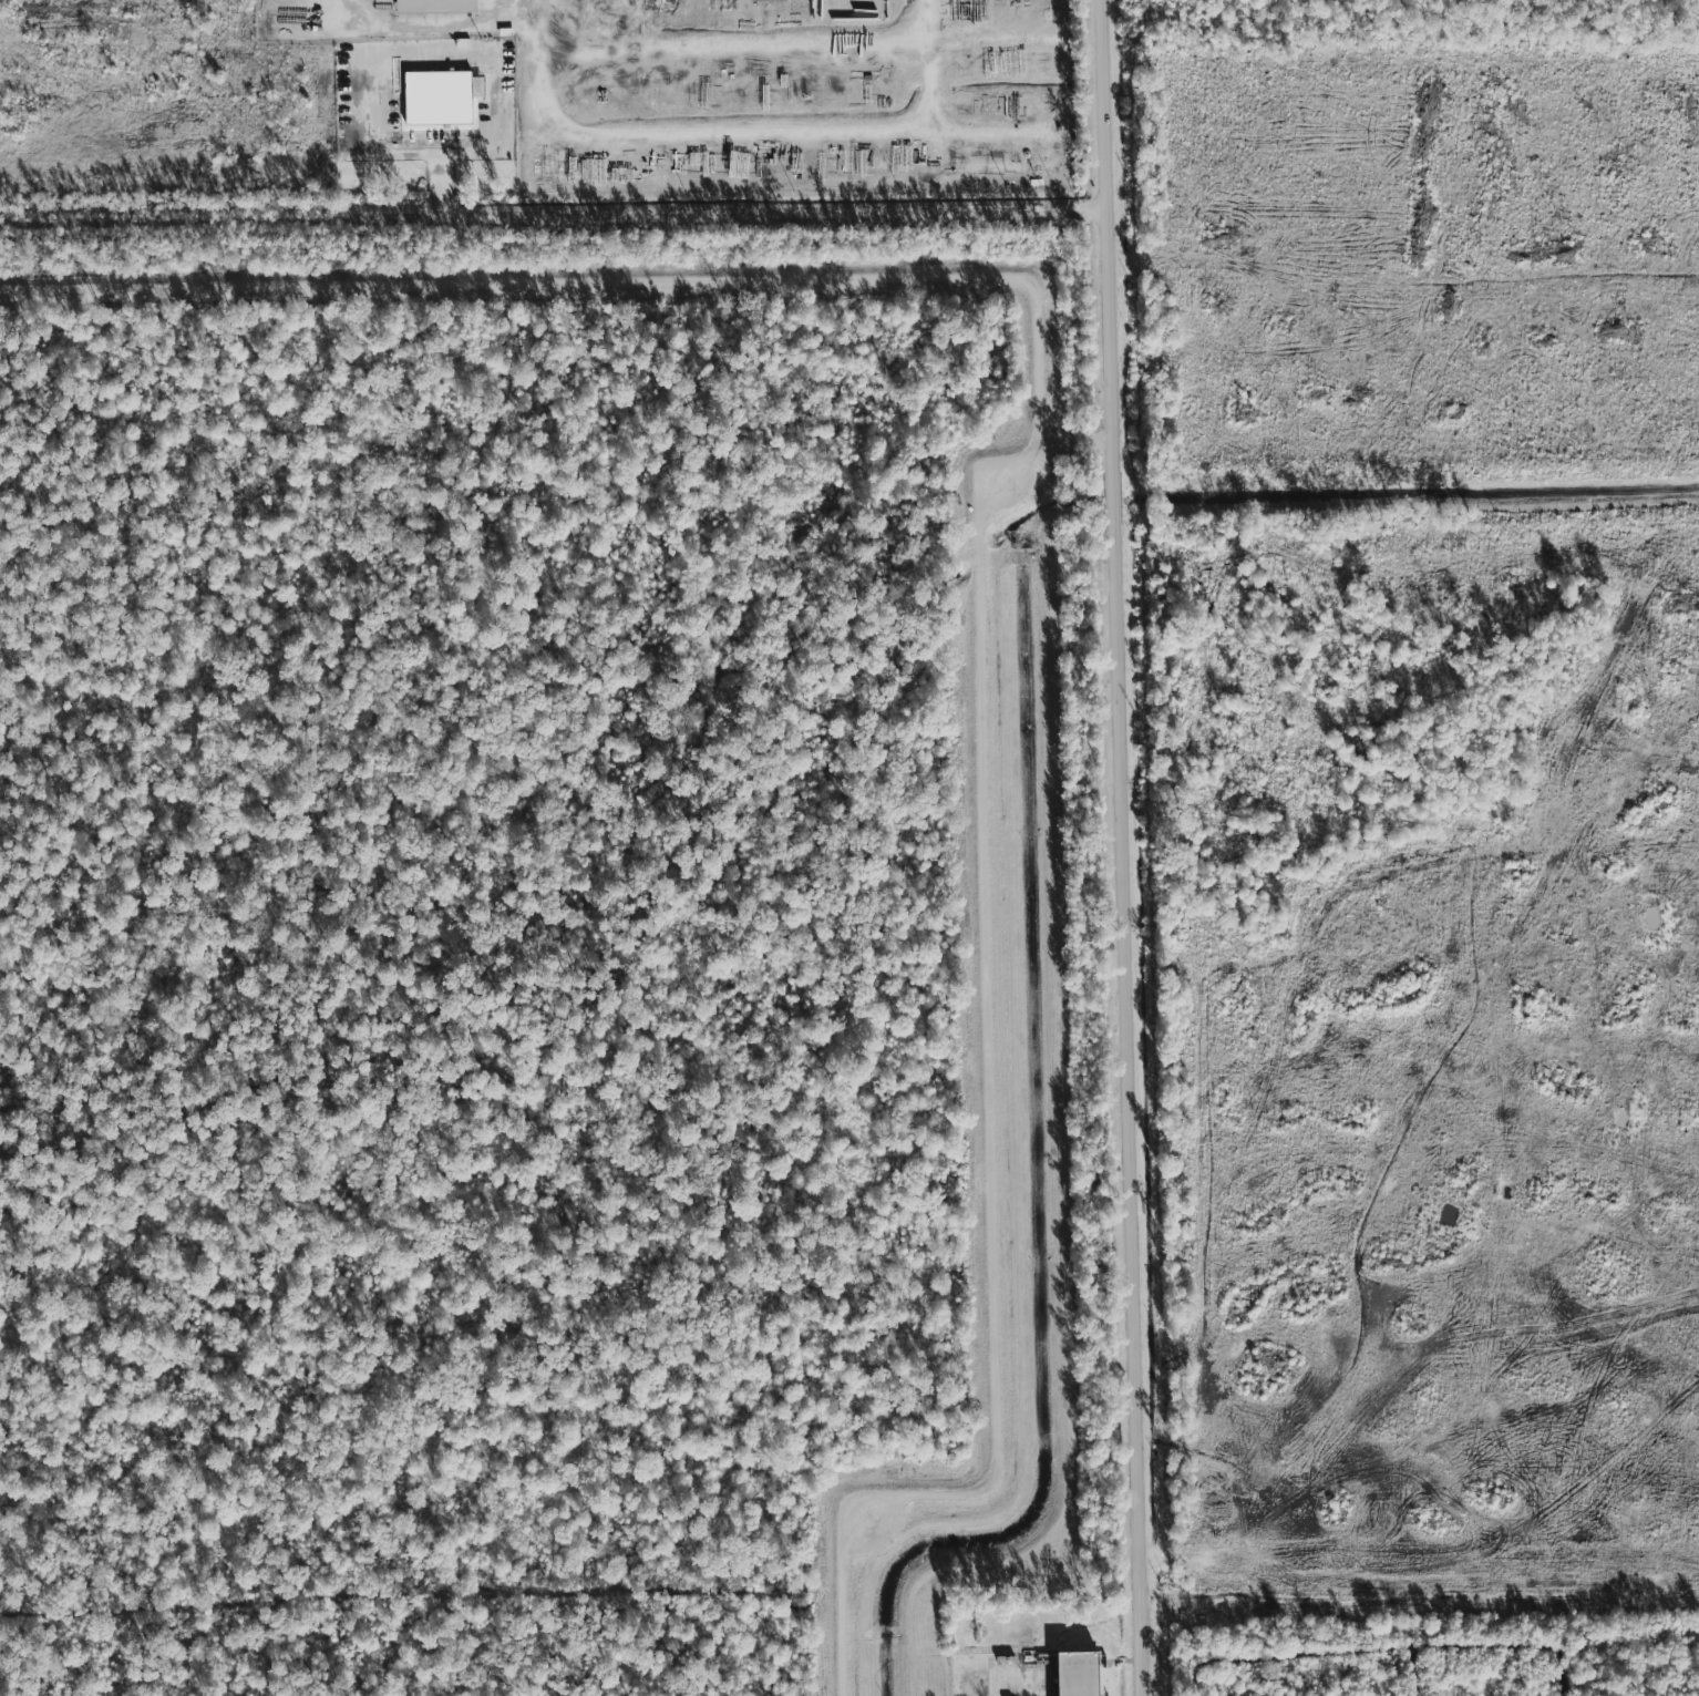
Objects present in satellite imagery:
building: (430, 7)
road: (536, 14)
road: (411, 24)
road: (776, 45)
building: (490, 82)
road: (931, 93)
building: (433, 97)
road: (790, 131)
road: (498, 152)
road: (861, 182)
road: (440, 185)
road: (734, 216)
road: (985, 517)
road: (1127, 847)
building: (1070, 1674)

